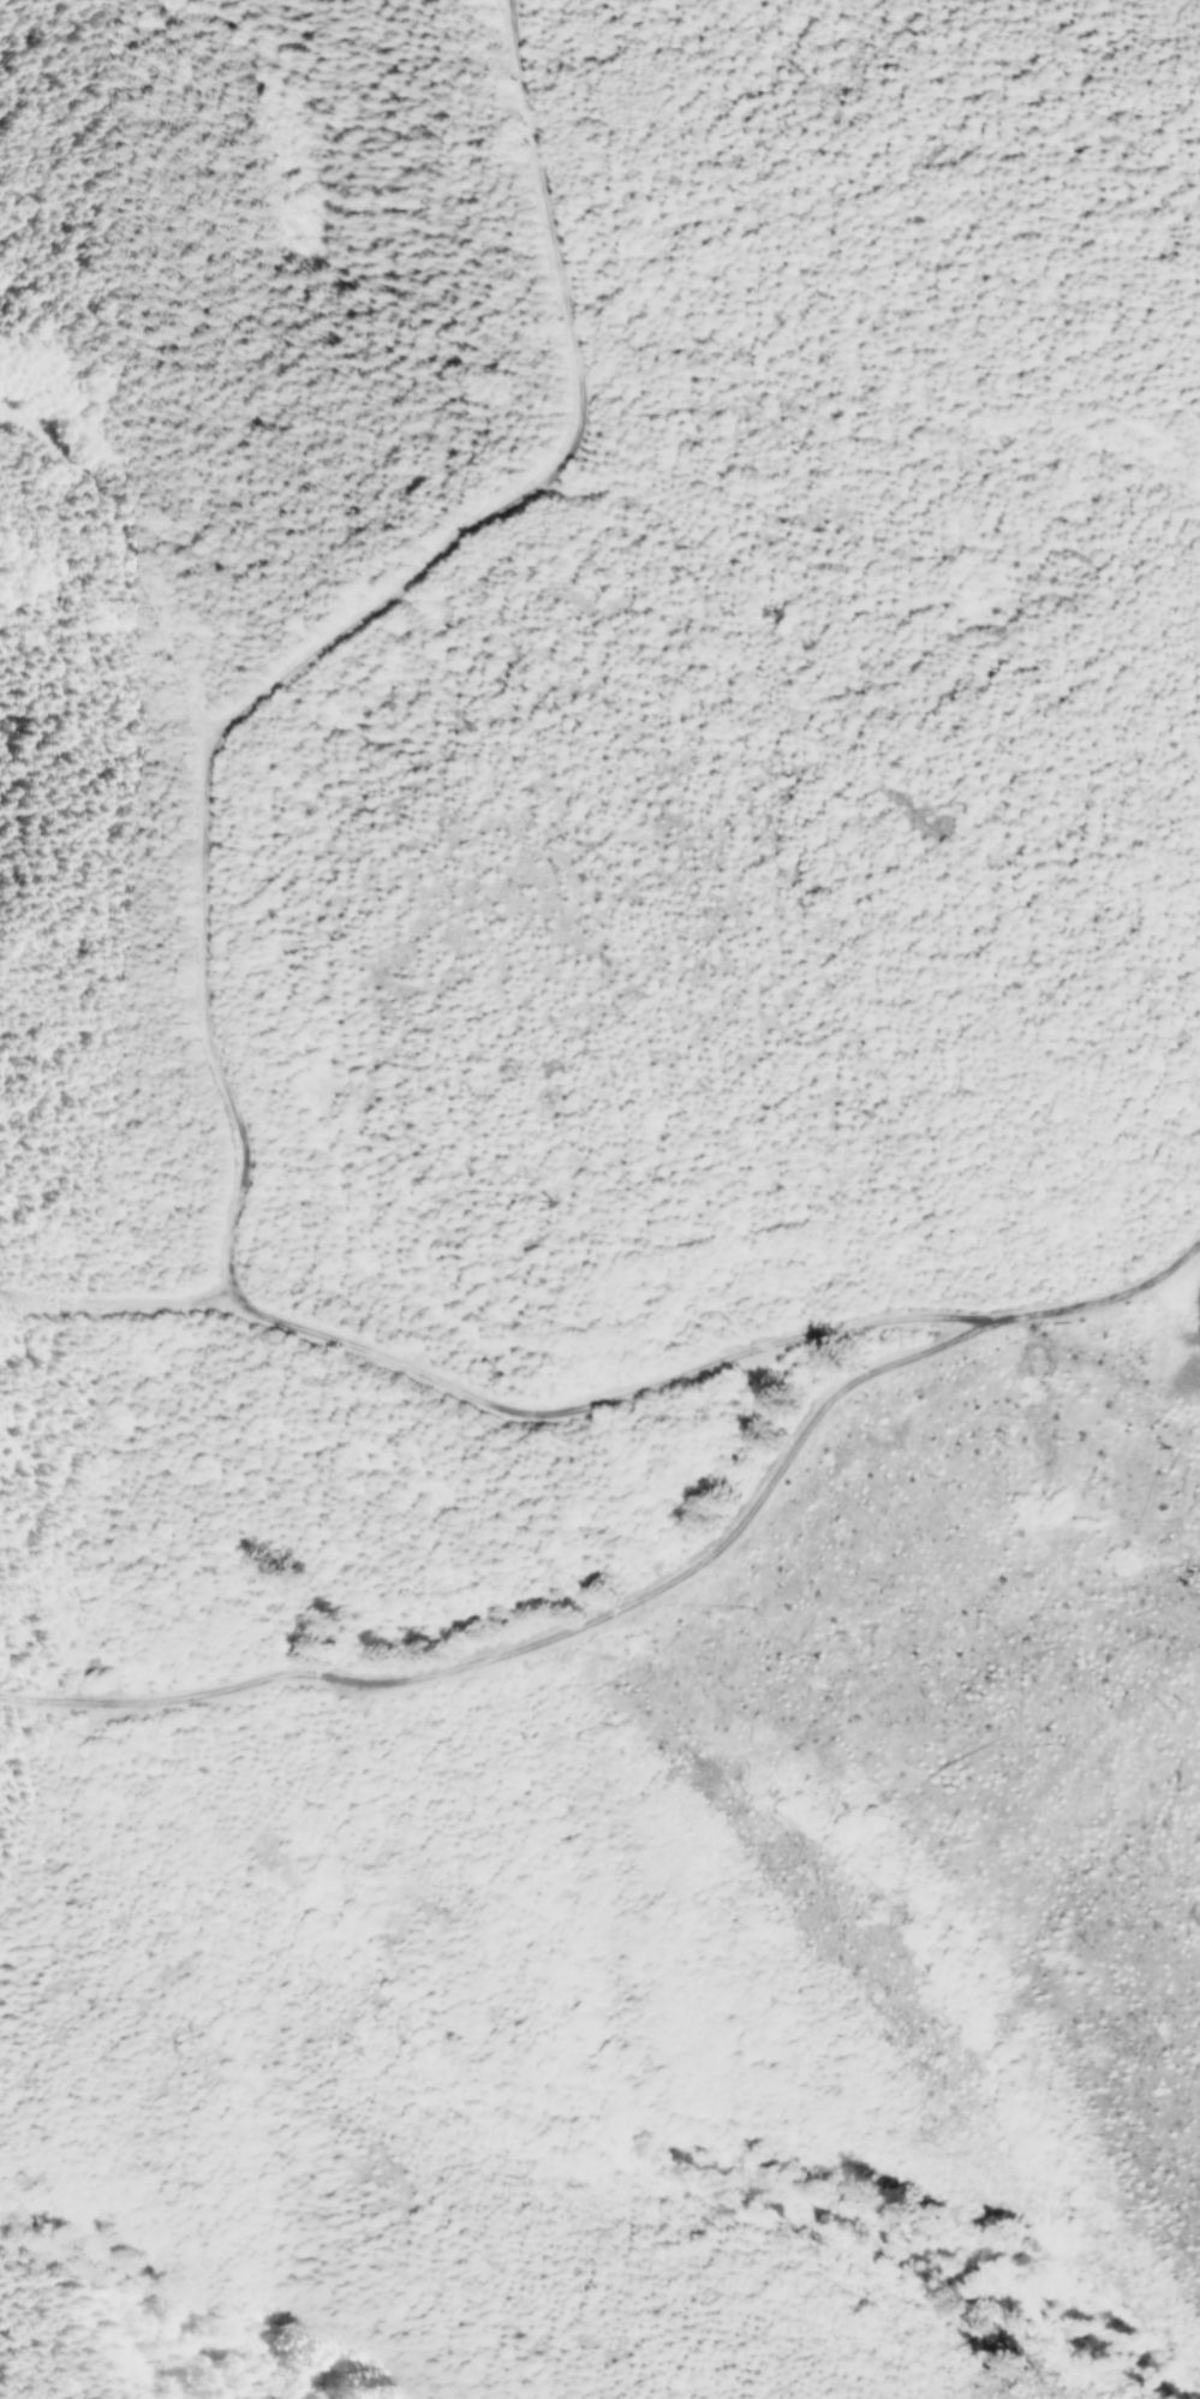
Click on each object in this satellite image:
road: (638, 1511)

